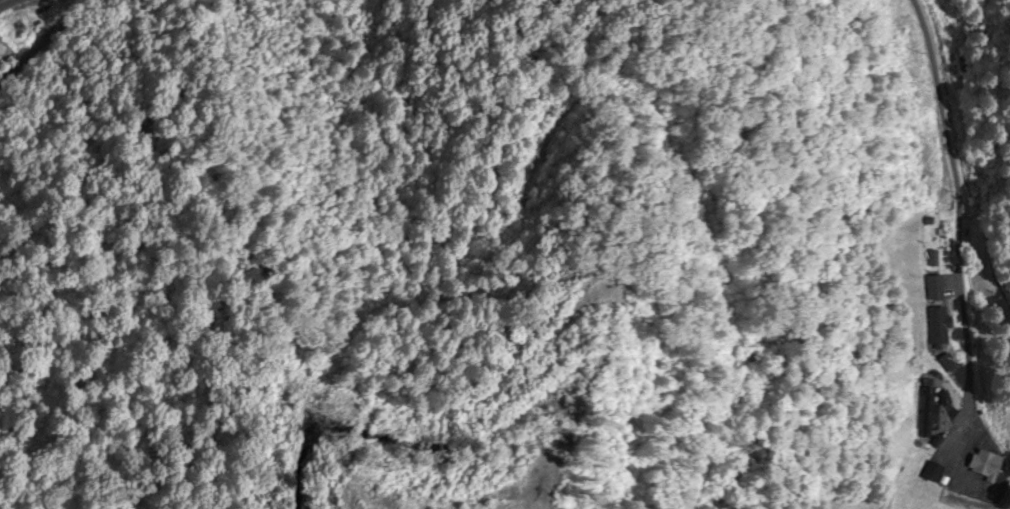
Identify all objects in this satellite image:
road: (2, 1)
road: (68, 148)
building: (983, 467)

